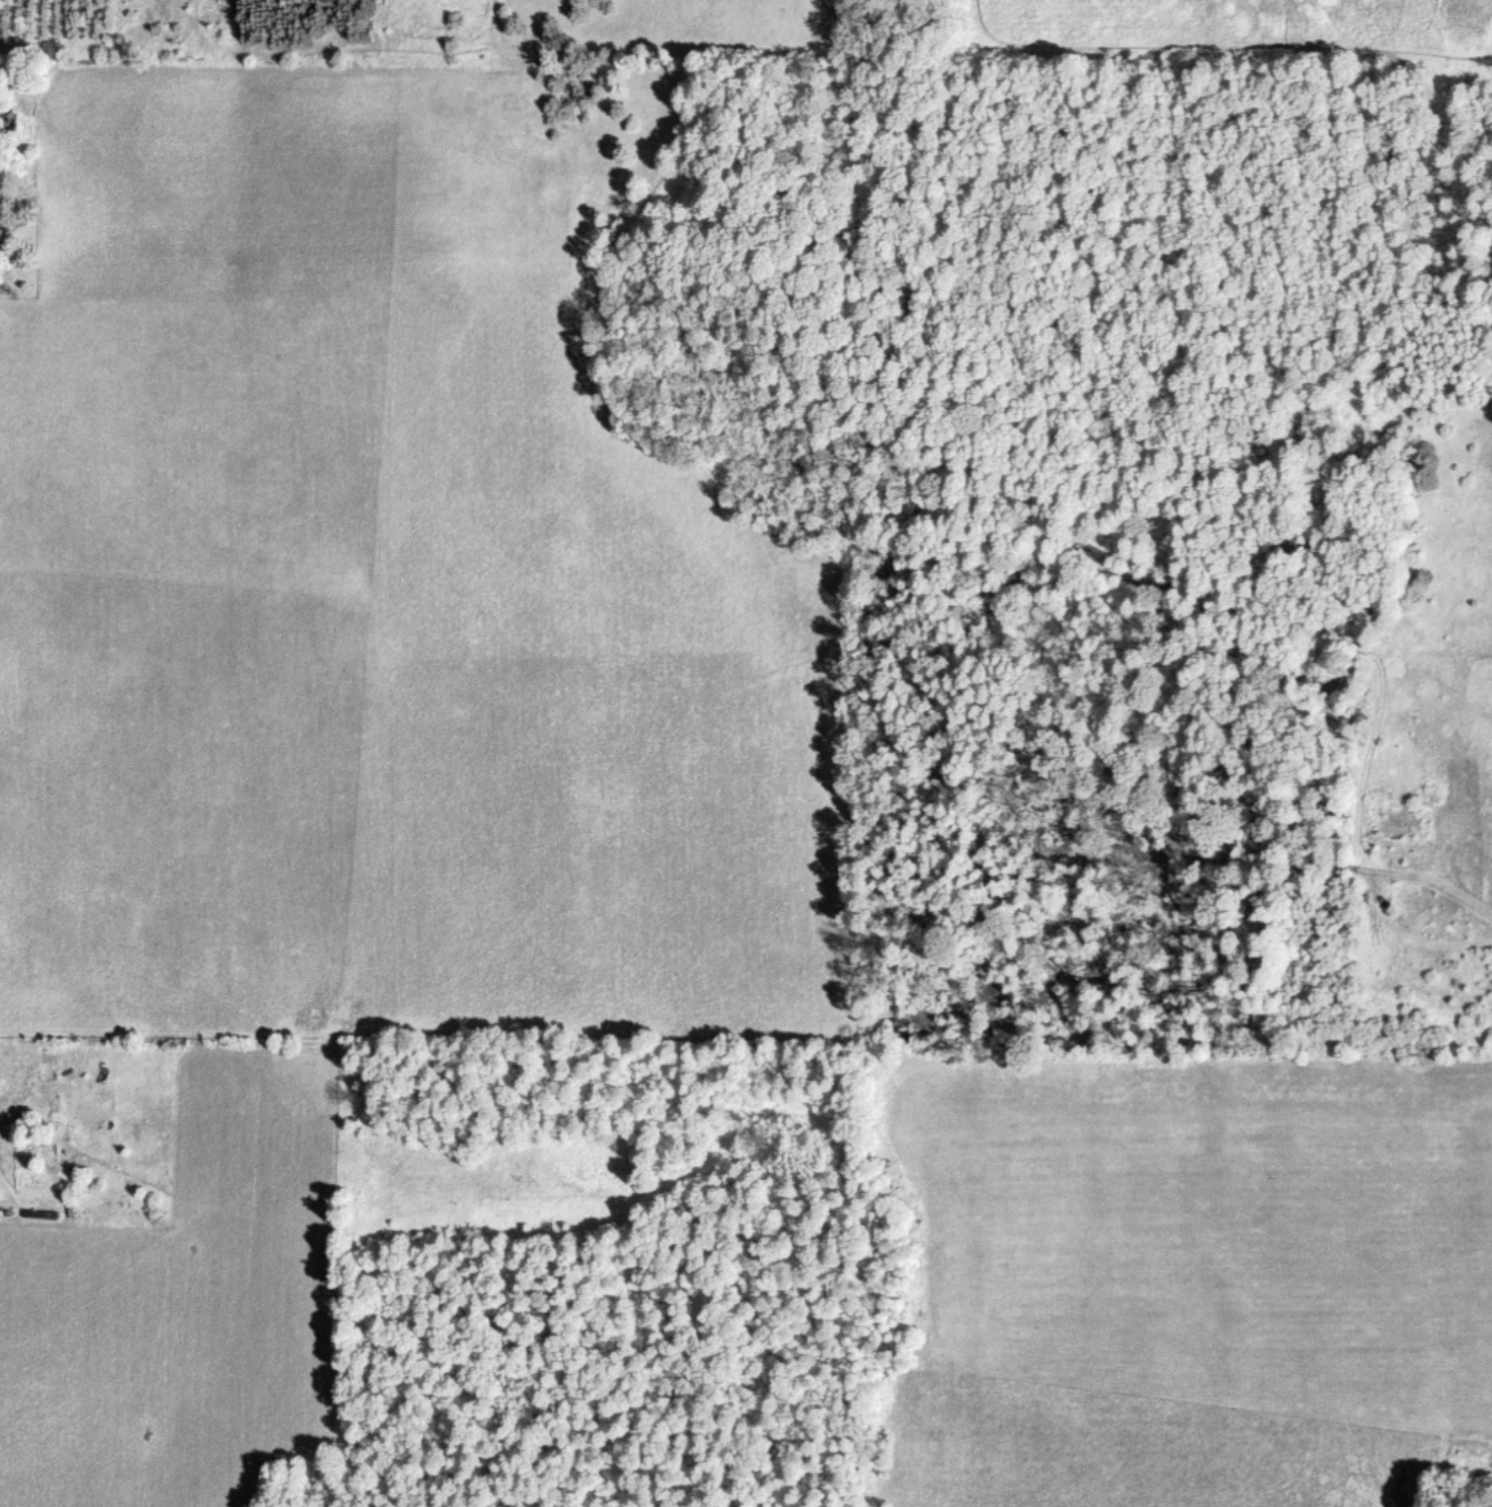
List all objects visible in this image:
building: (13, 125)

